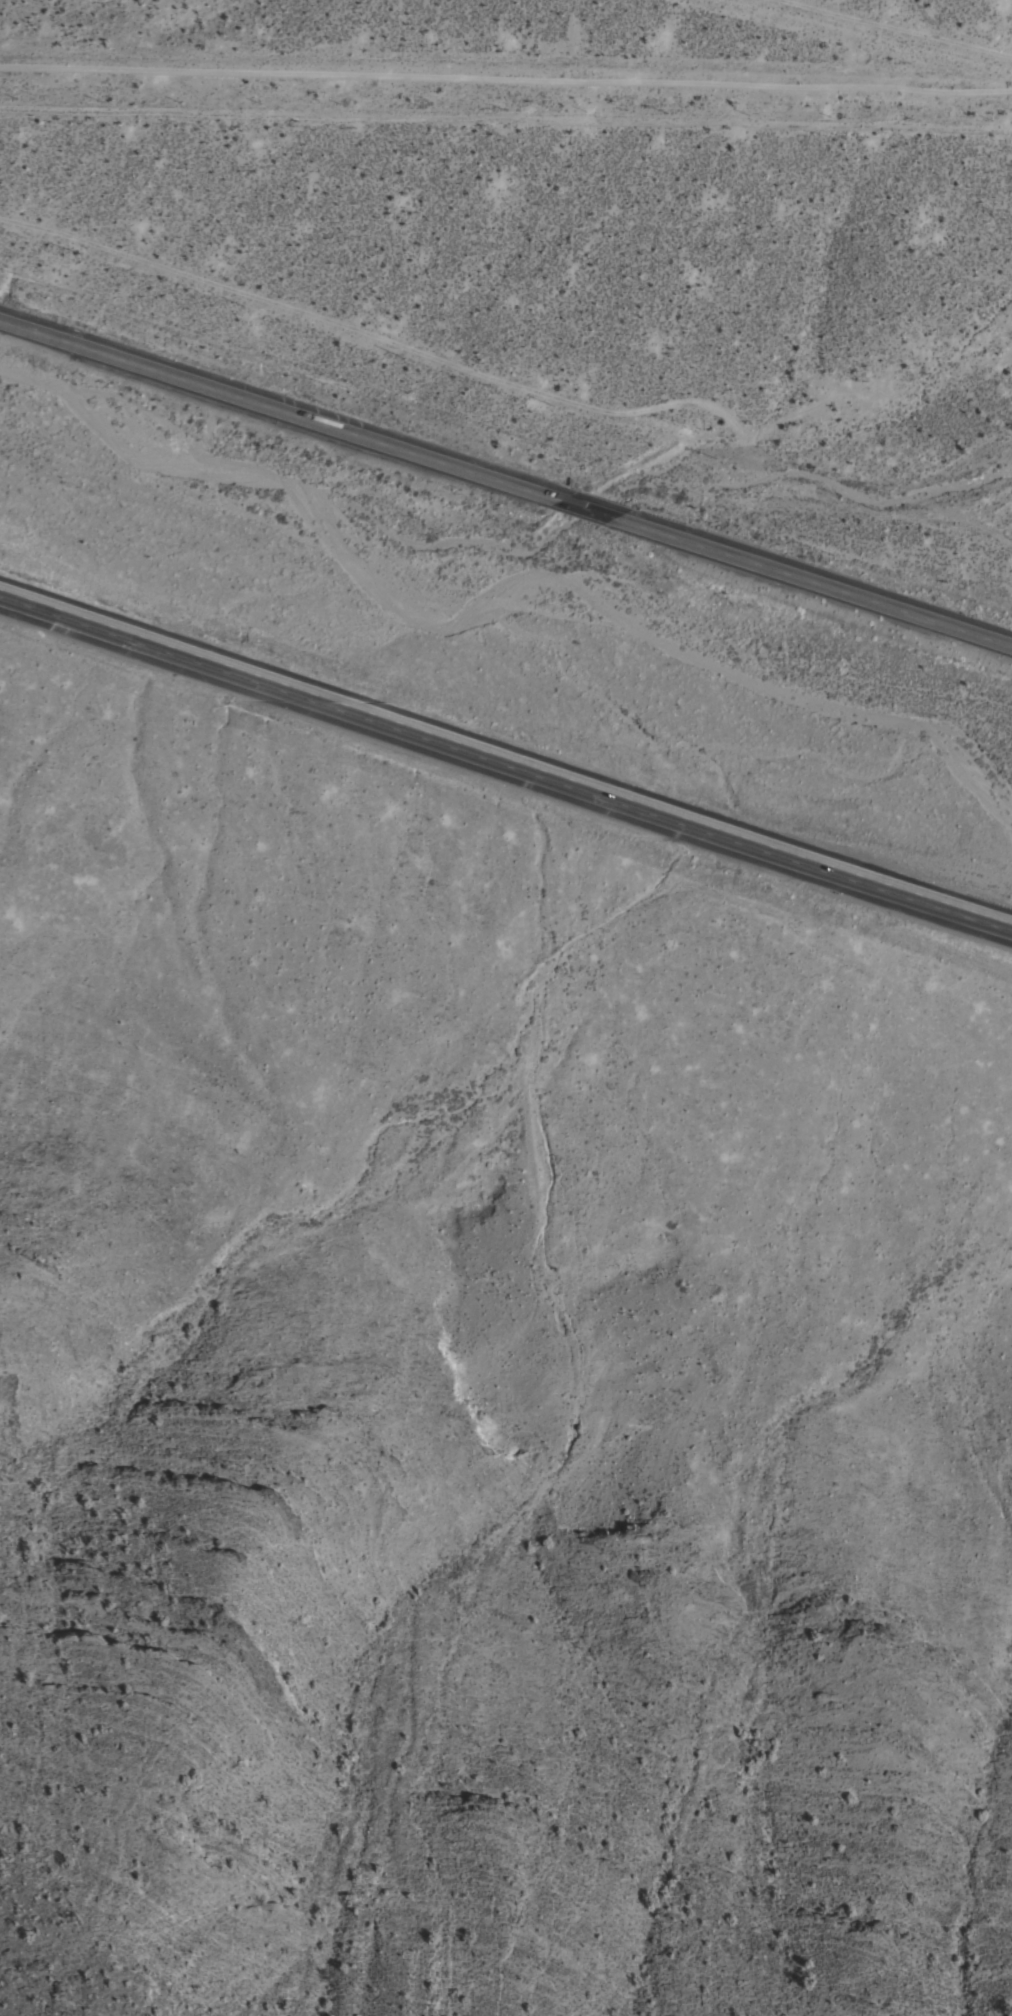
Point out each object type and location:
road: (886, 31)
road: (506, 79)
road: (515, 369)
road: (276, 406)
road: (581, 504)
road: (926, 527)
road: (811, 579)
railway: (510, 602)
road: (506, 760)

